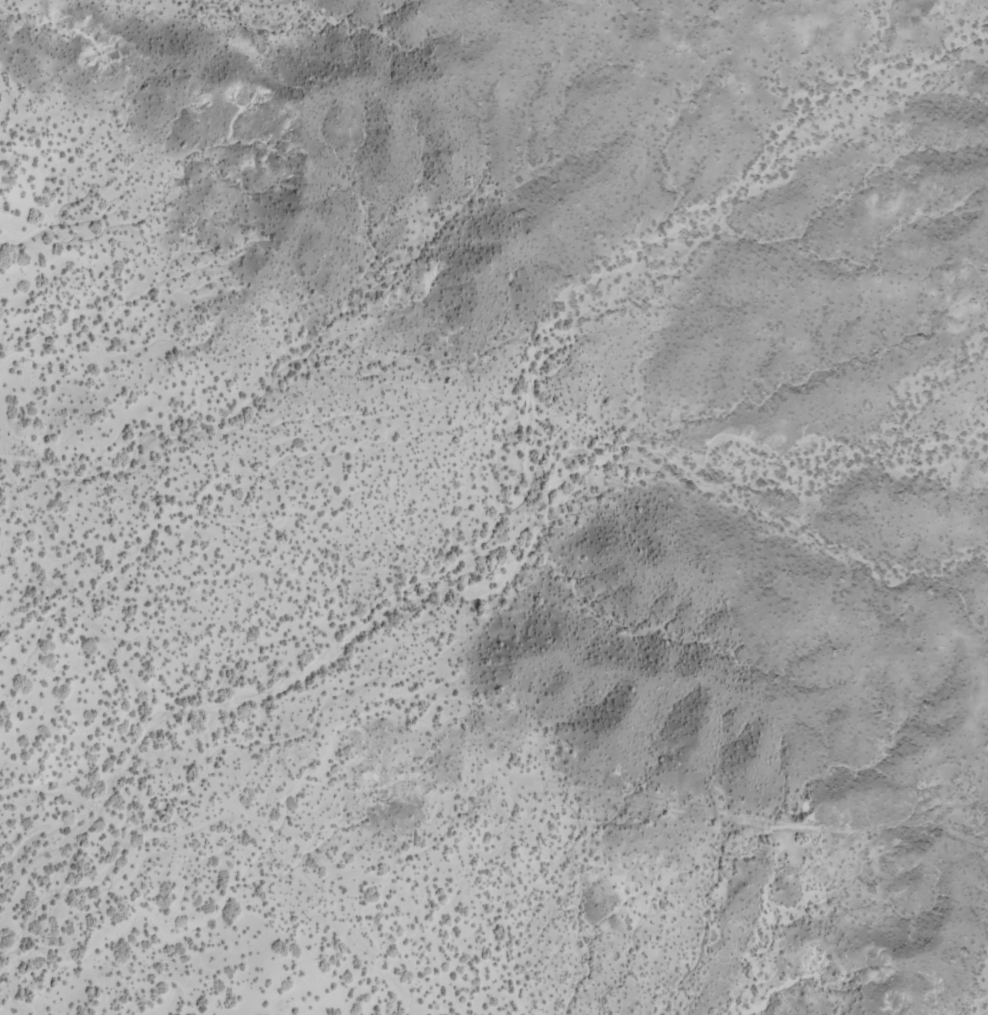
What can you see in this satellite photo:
road: (140, 703)

